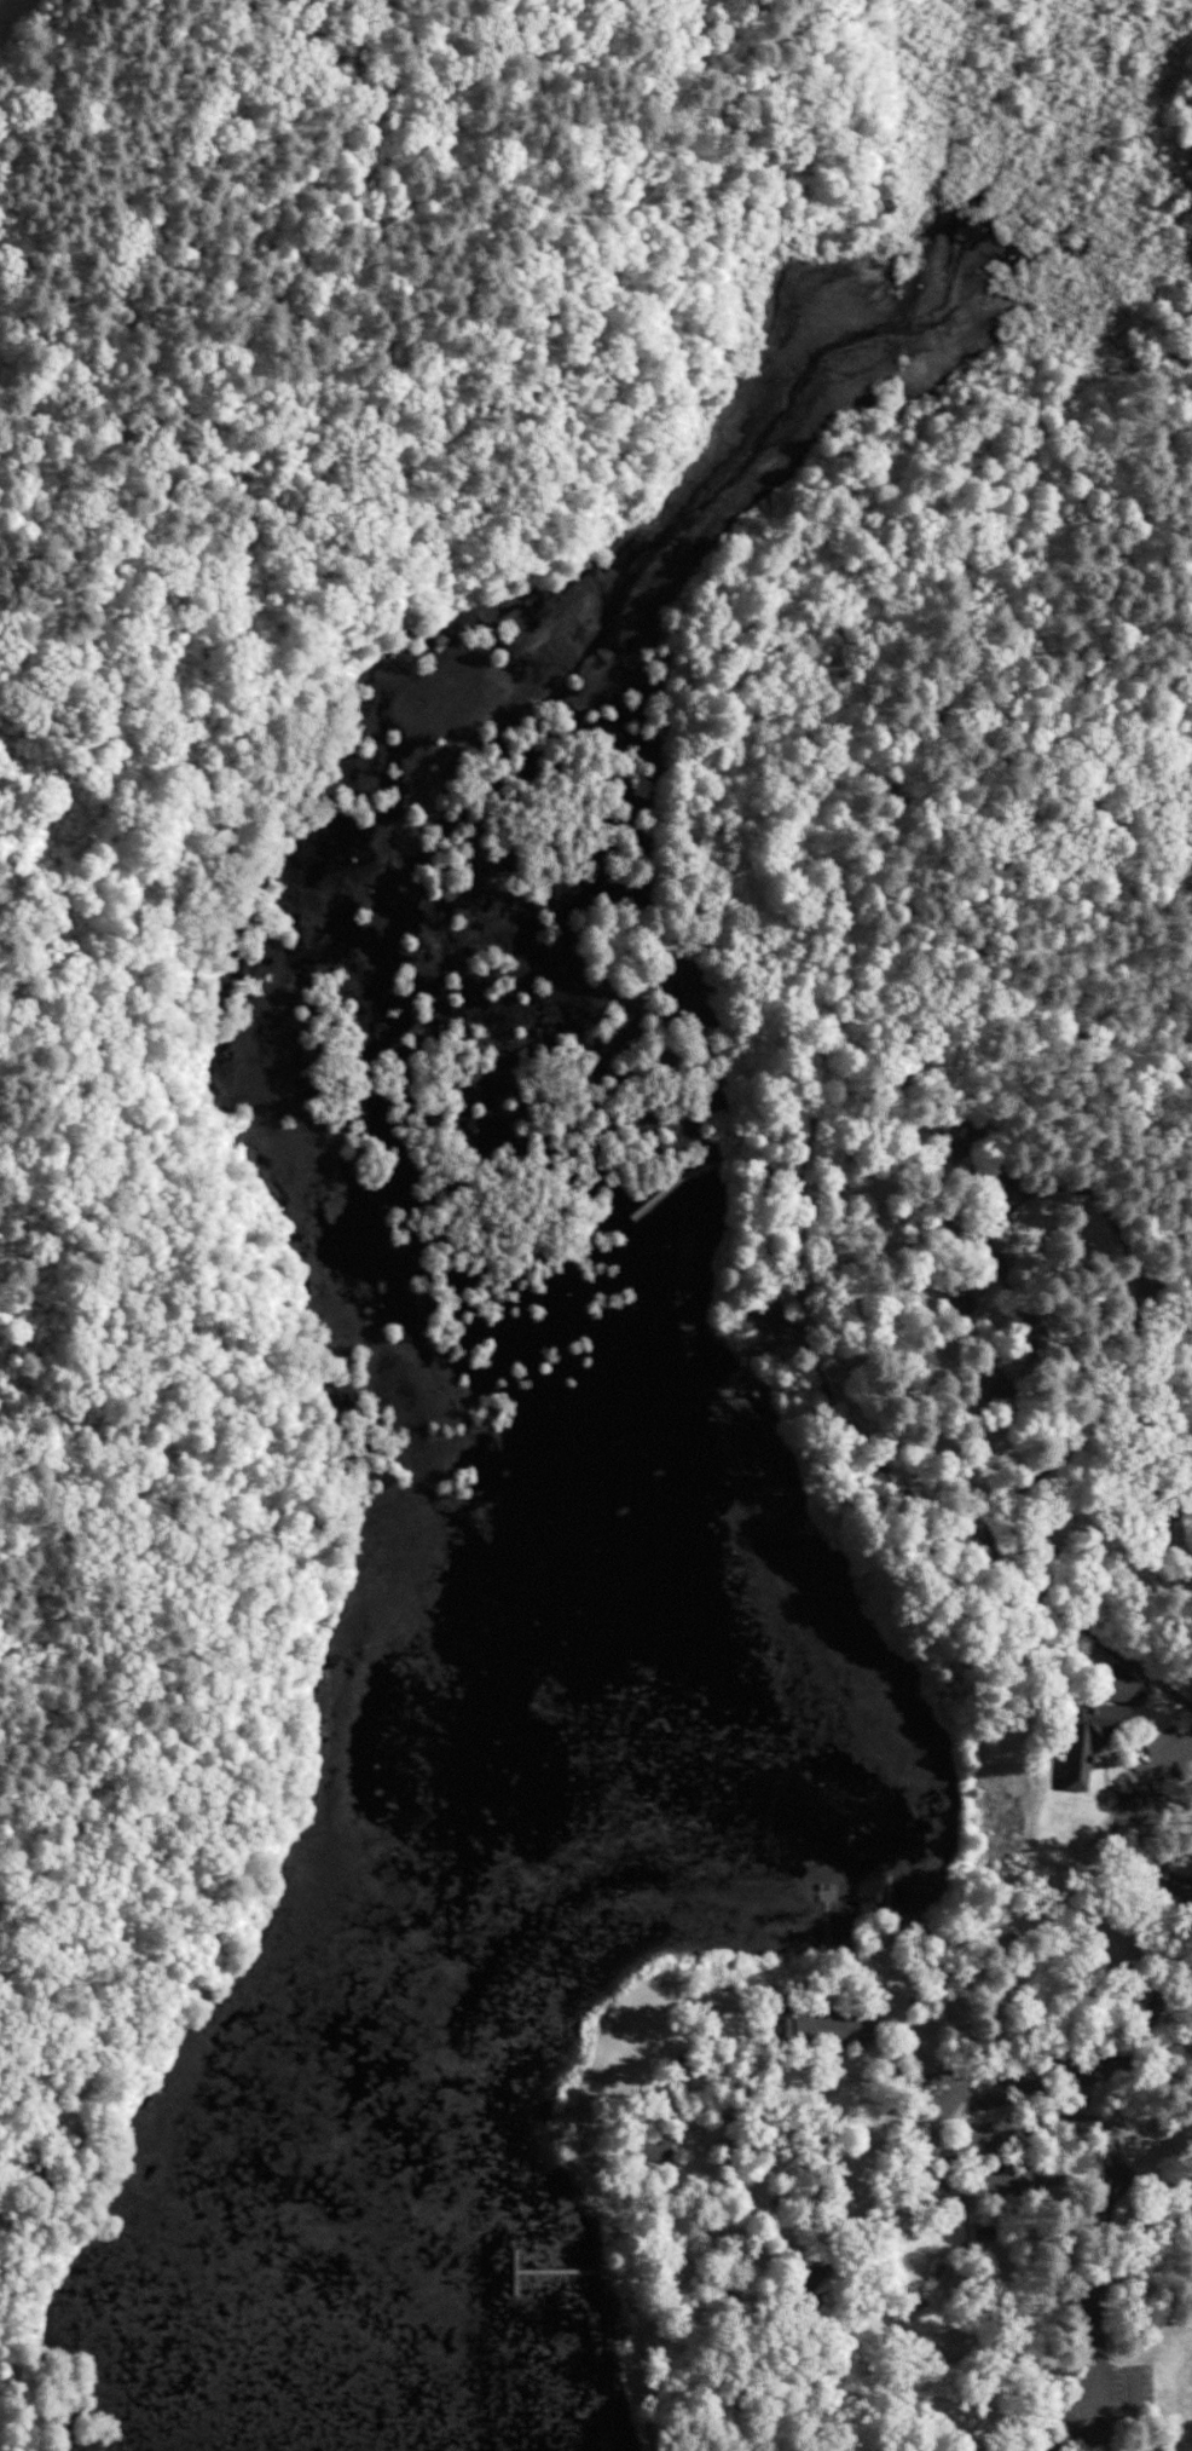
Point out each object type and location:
road: (876, 797)
road: (190, 1098)
building: (964, 1140)
road: (768, 1167)
road: (679, 1178)
park: (600, 1233)
road: (769, 1343)
road: (748, 1379)
road: (864, 1442)
road: (1072, 1442)
building: (1132, 1691)
road: (1146, 1811)
road: (1020, 1876)
road: (1123, 2019)
building: (820, 2029)
road: (1019, 2135)
building: (644, 2150)
road: (932, 2153)
road: (1150, 2186)
road: (735, 2215)
road: (815, 2220)
road: (566, 2271)
road: (516, 2272)
road: (632, 2294)
road: (1098, 2318)
road: (1064, 2423)

